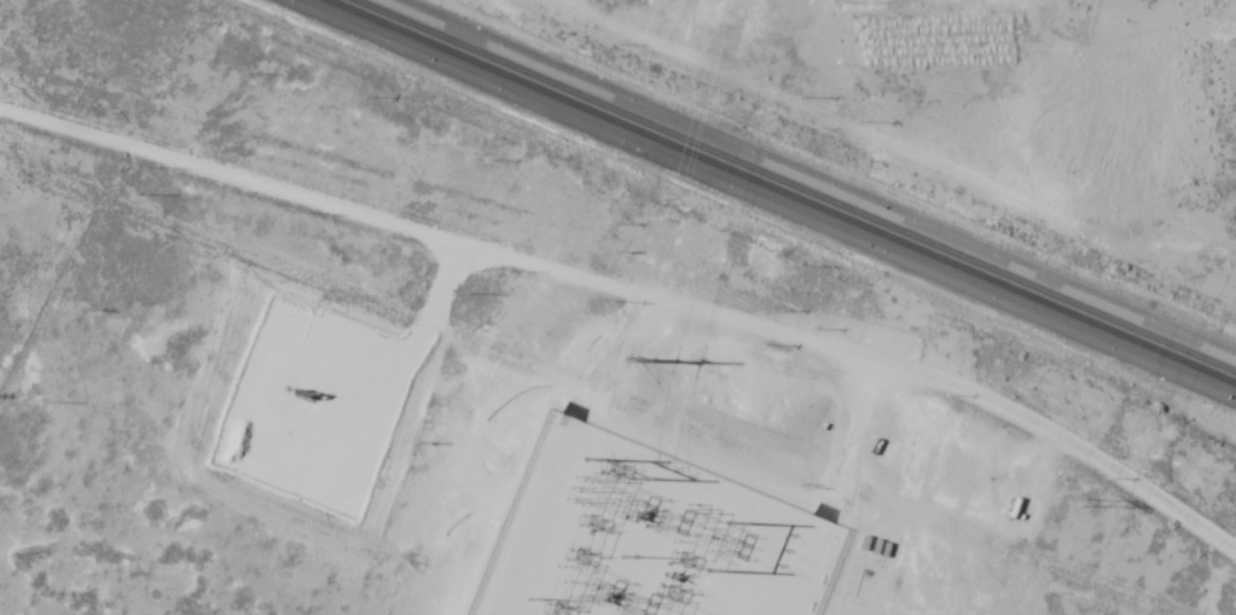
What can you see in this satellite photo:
power tower: (1230, 176)
road: (787, 188)
road: (636, 289)
road: (422, 314)
power tower: (1077, 503)

